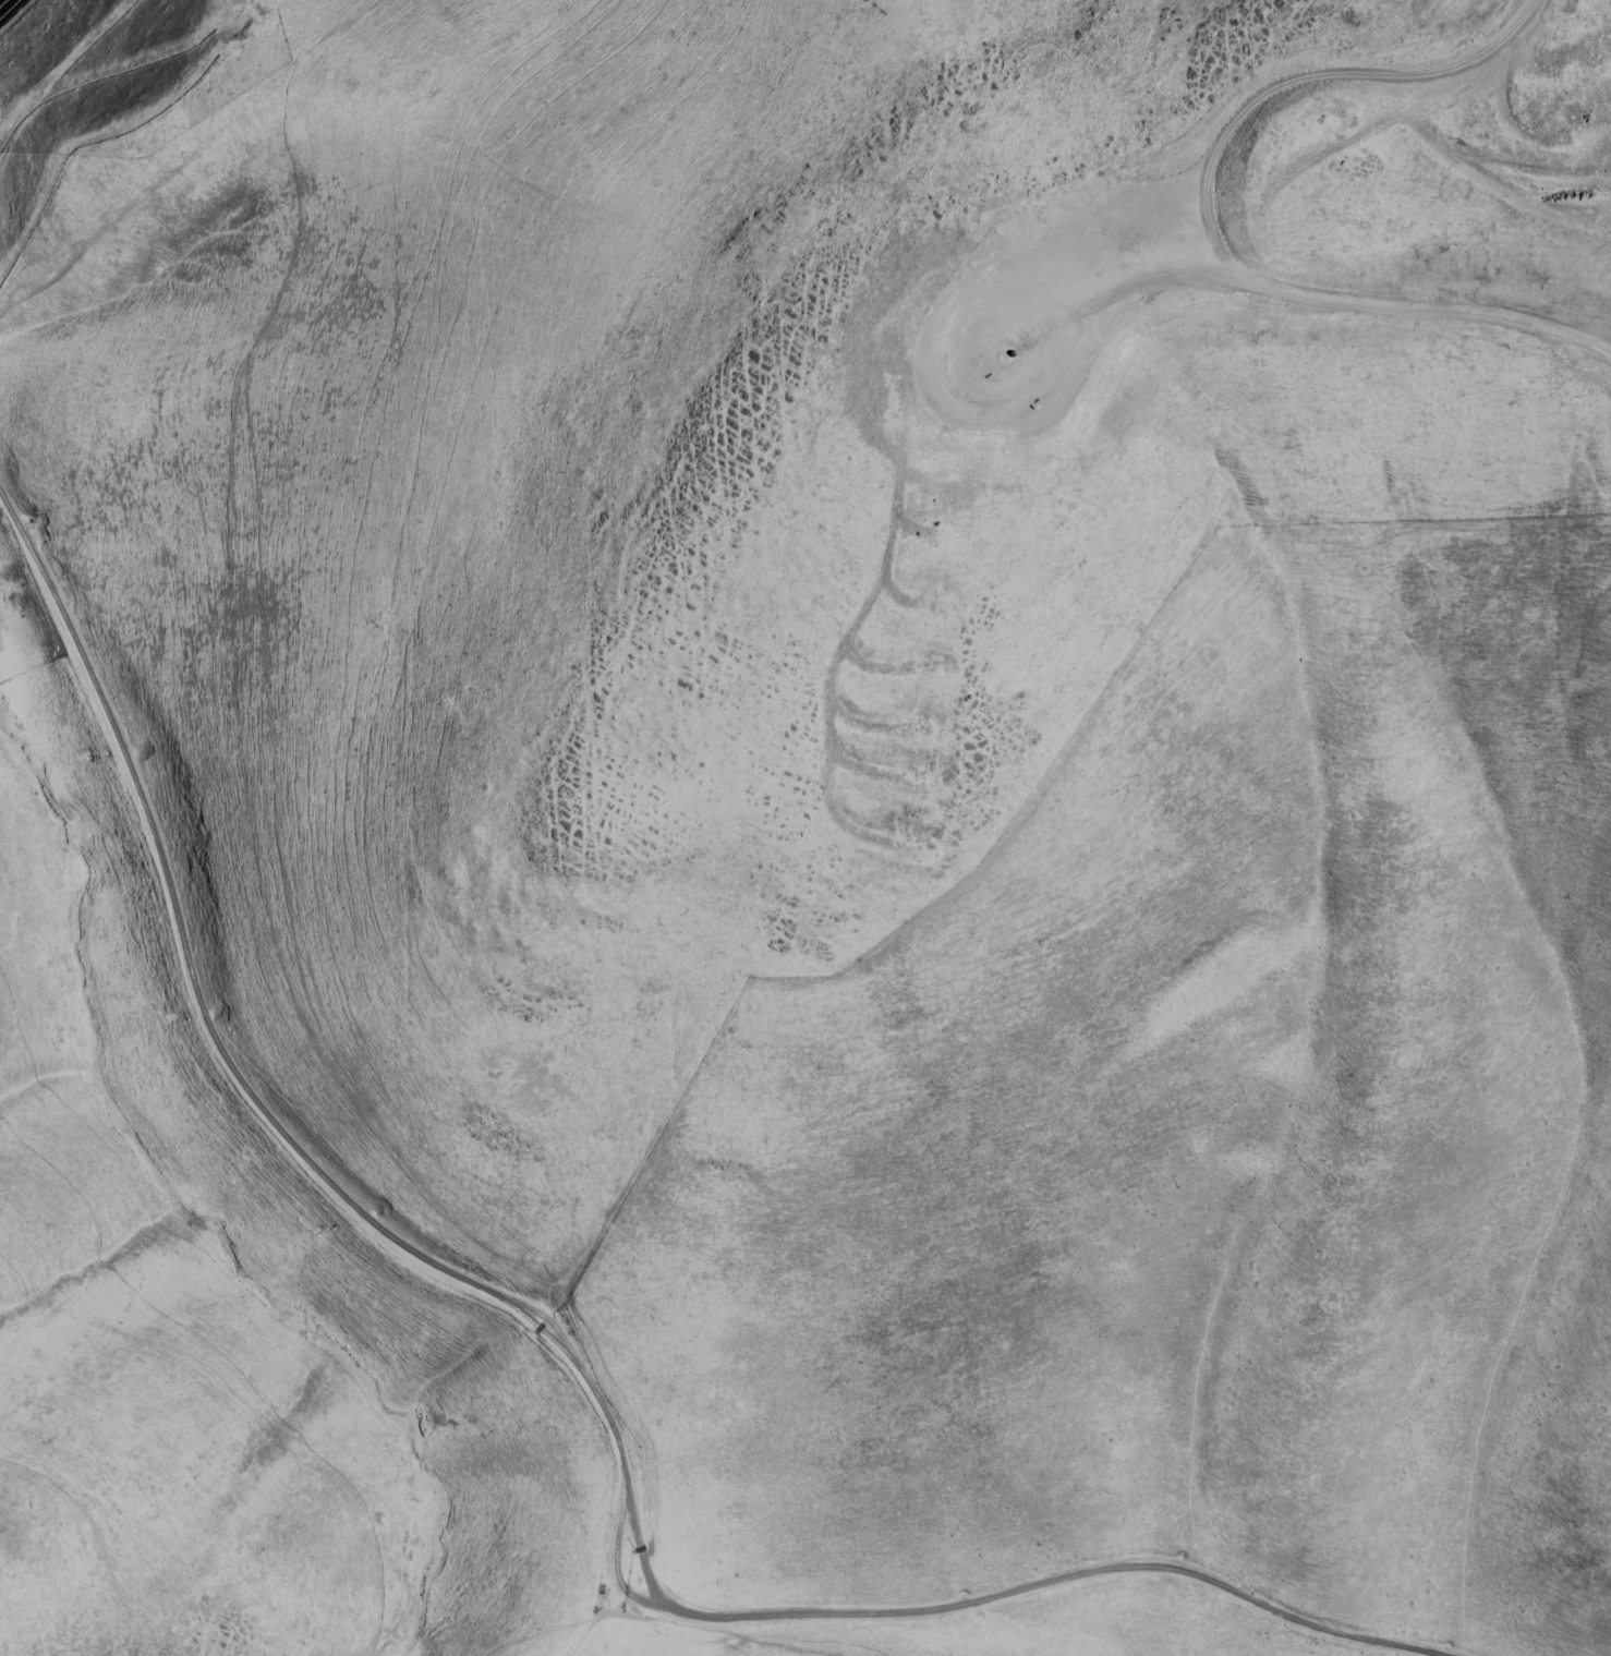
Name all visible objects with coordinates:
wind turbine: (1014, 235)
road: (1089, 246)
wind turbine: (988, 291)
wind turbine: (965, 355)
wind turbine: (993, 355)
wind turbine: (954, 411)
wind turbine: (941, 481)
wind turbine: (930, 543)
wind turbine: (925, 604)
wind turbine: (925, 669)
wind turbine: (922, 733)
wind turbine: (918, 800)
road: (571, 1363)

